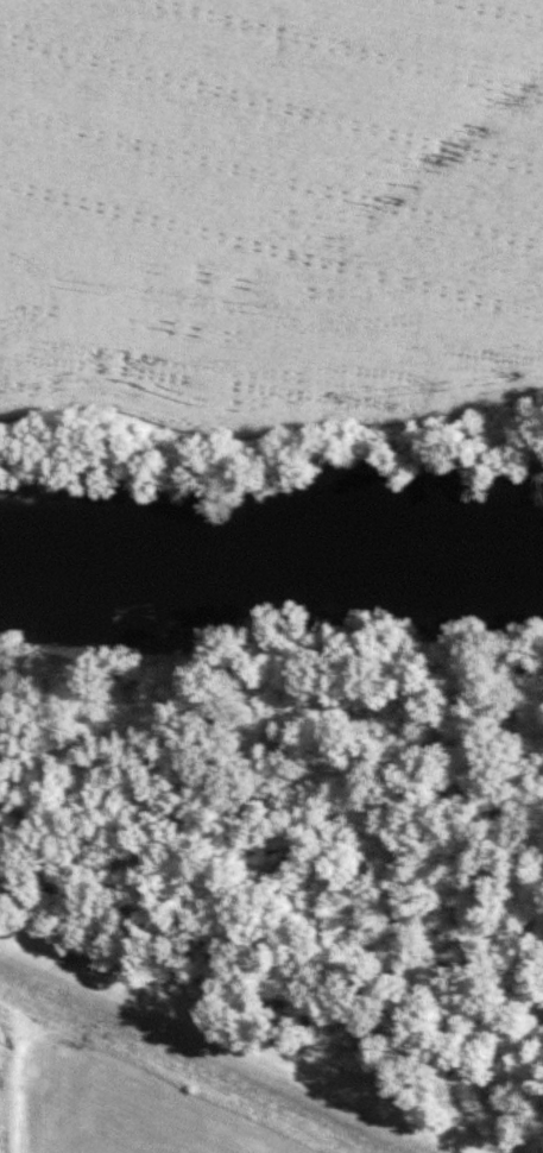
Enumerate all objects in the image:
river: (271, 529)

